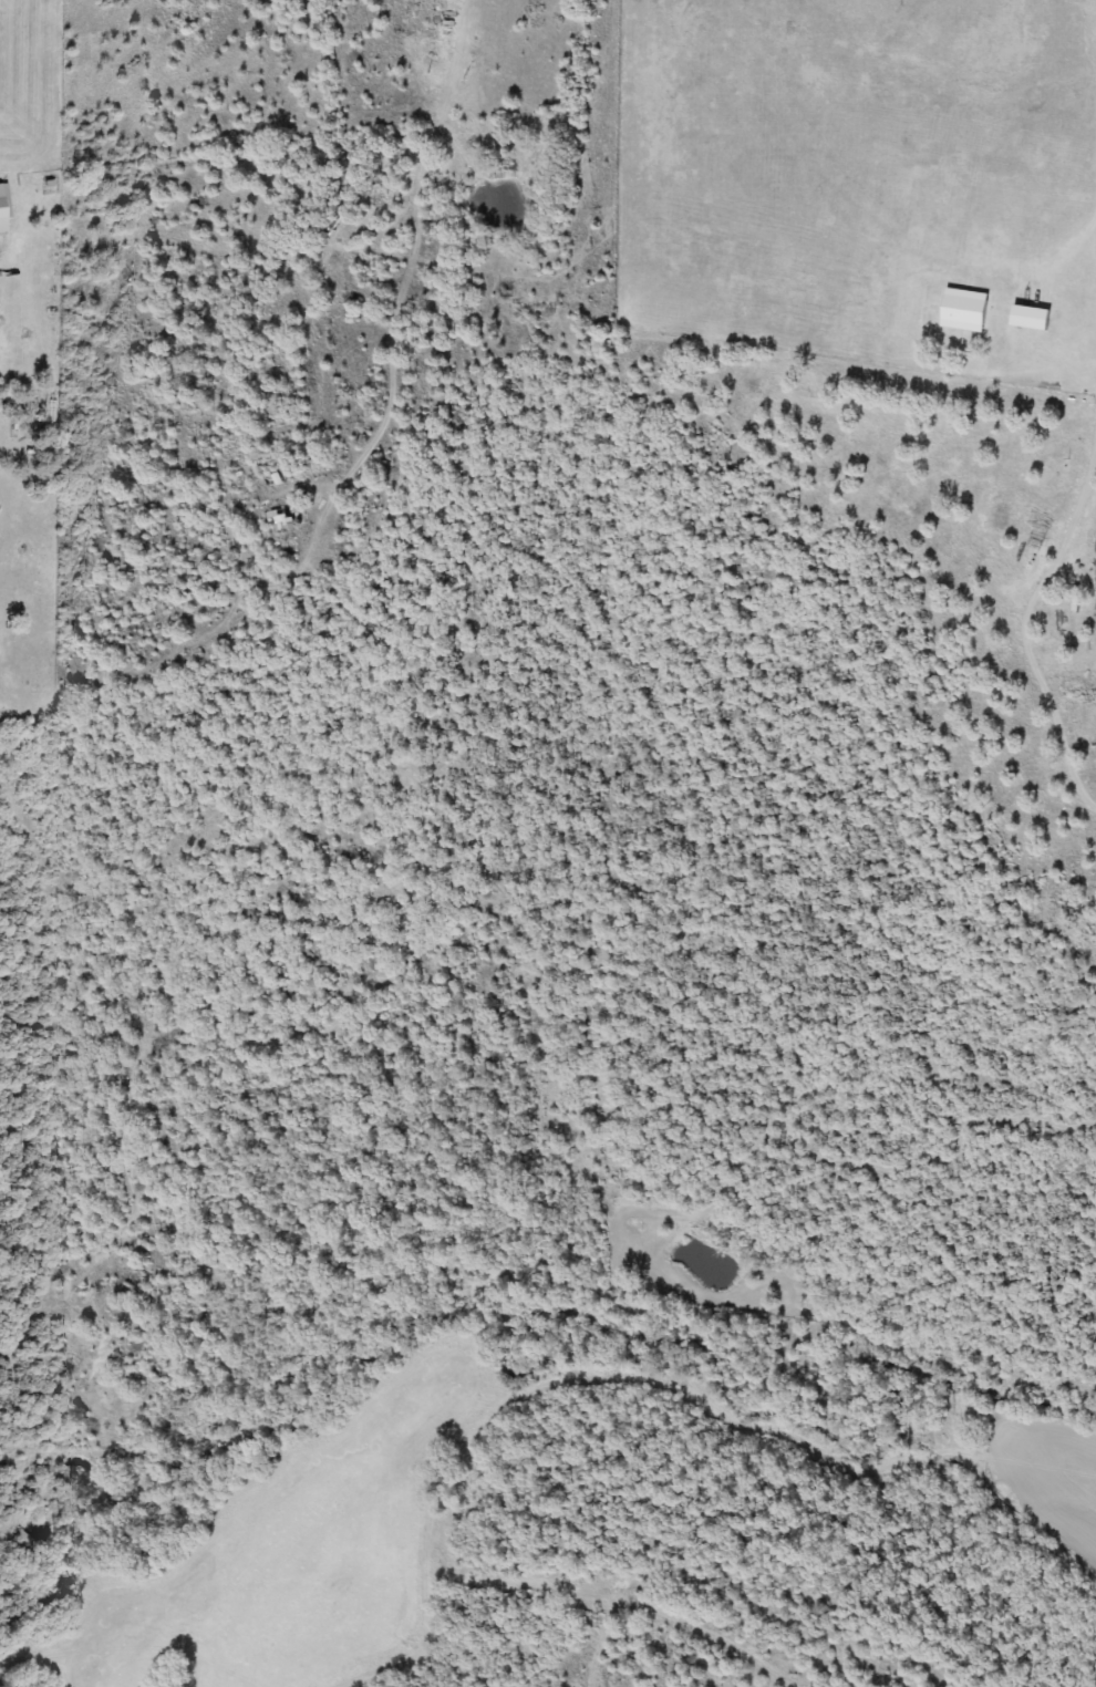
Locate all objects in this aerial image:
building: (2, 216)
building: (25, 405)

